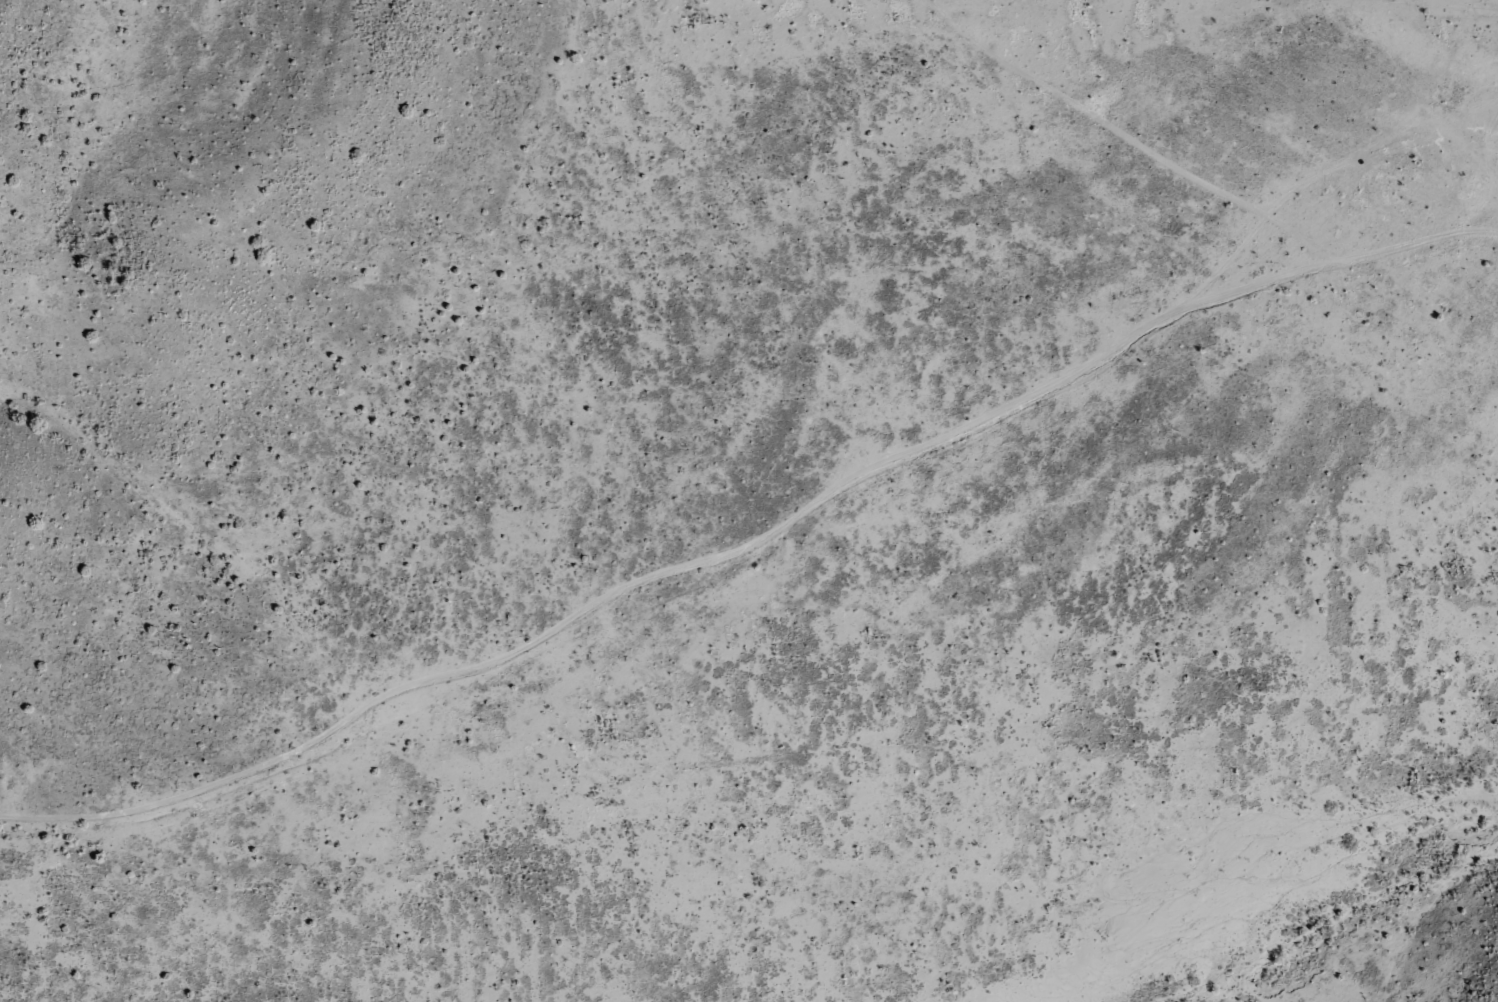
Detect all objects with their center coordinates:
road: (1480, 295)
road: (750, 547)

